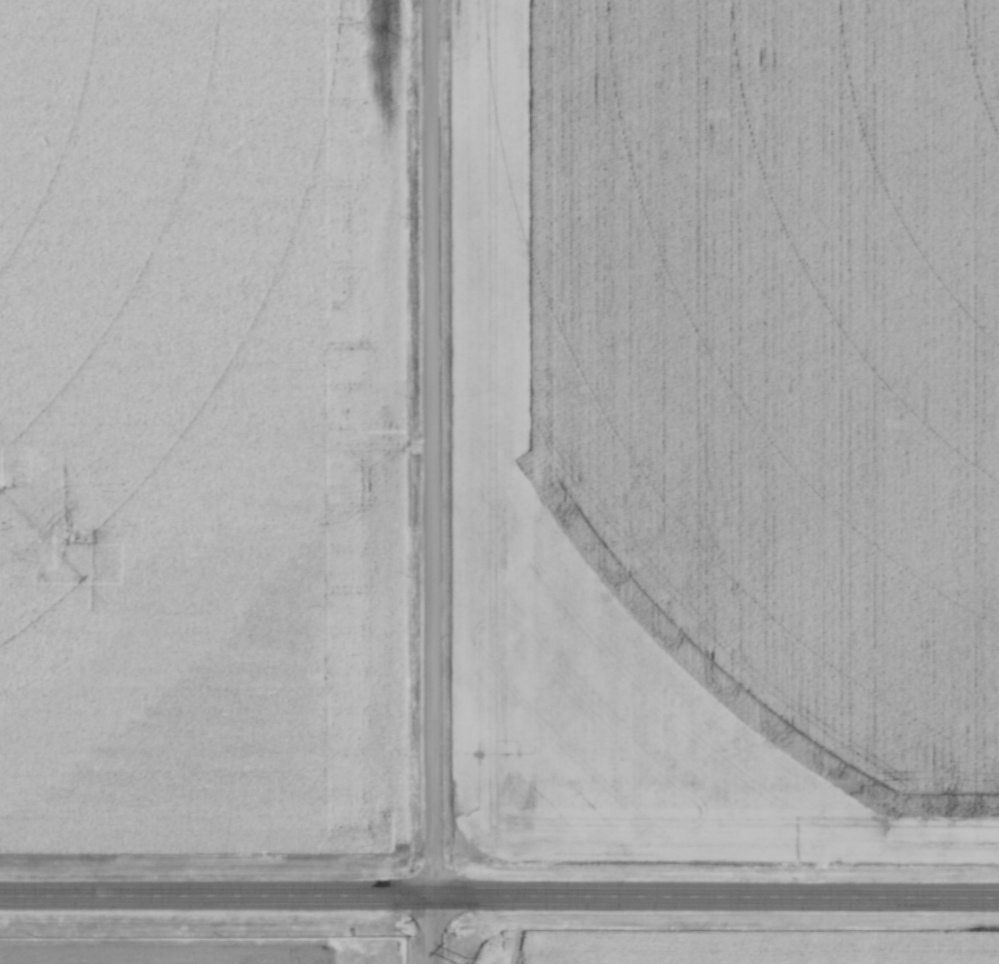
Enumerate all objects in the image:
road: (430, 481)
power tower: (72, 539)
road: (499, 891)
power tower: (456, 956)

